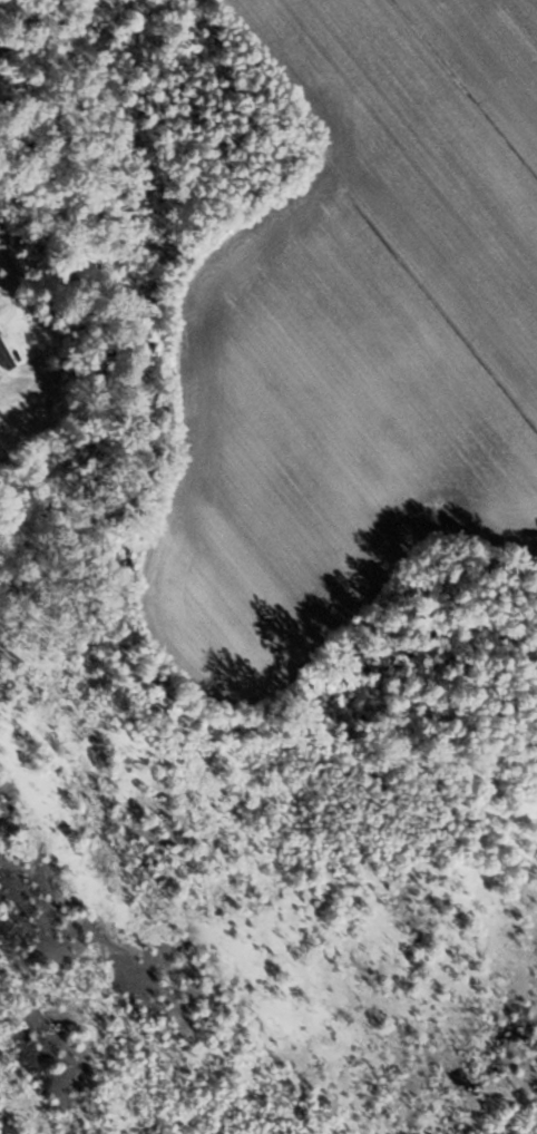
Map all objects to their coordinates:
building: (4, 359)

